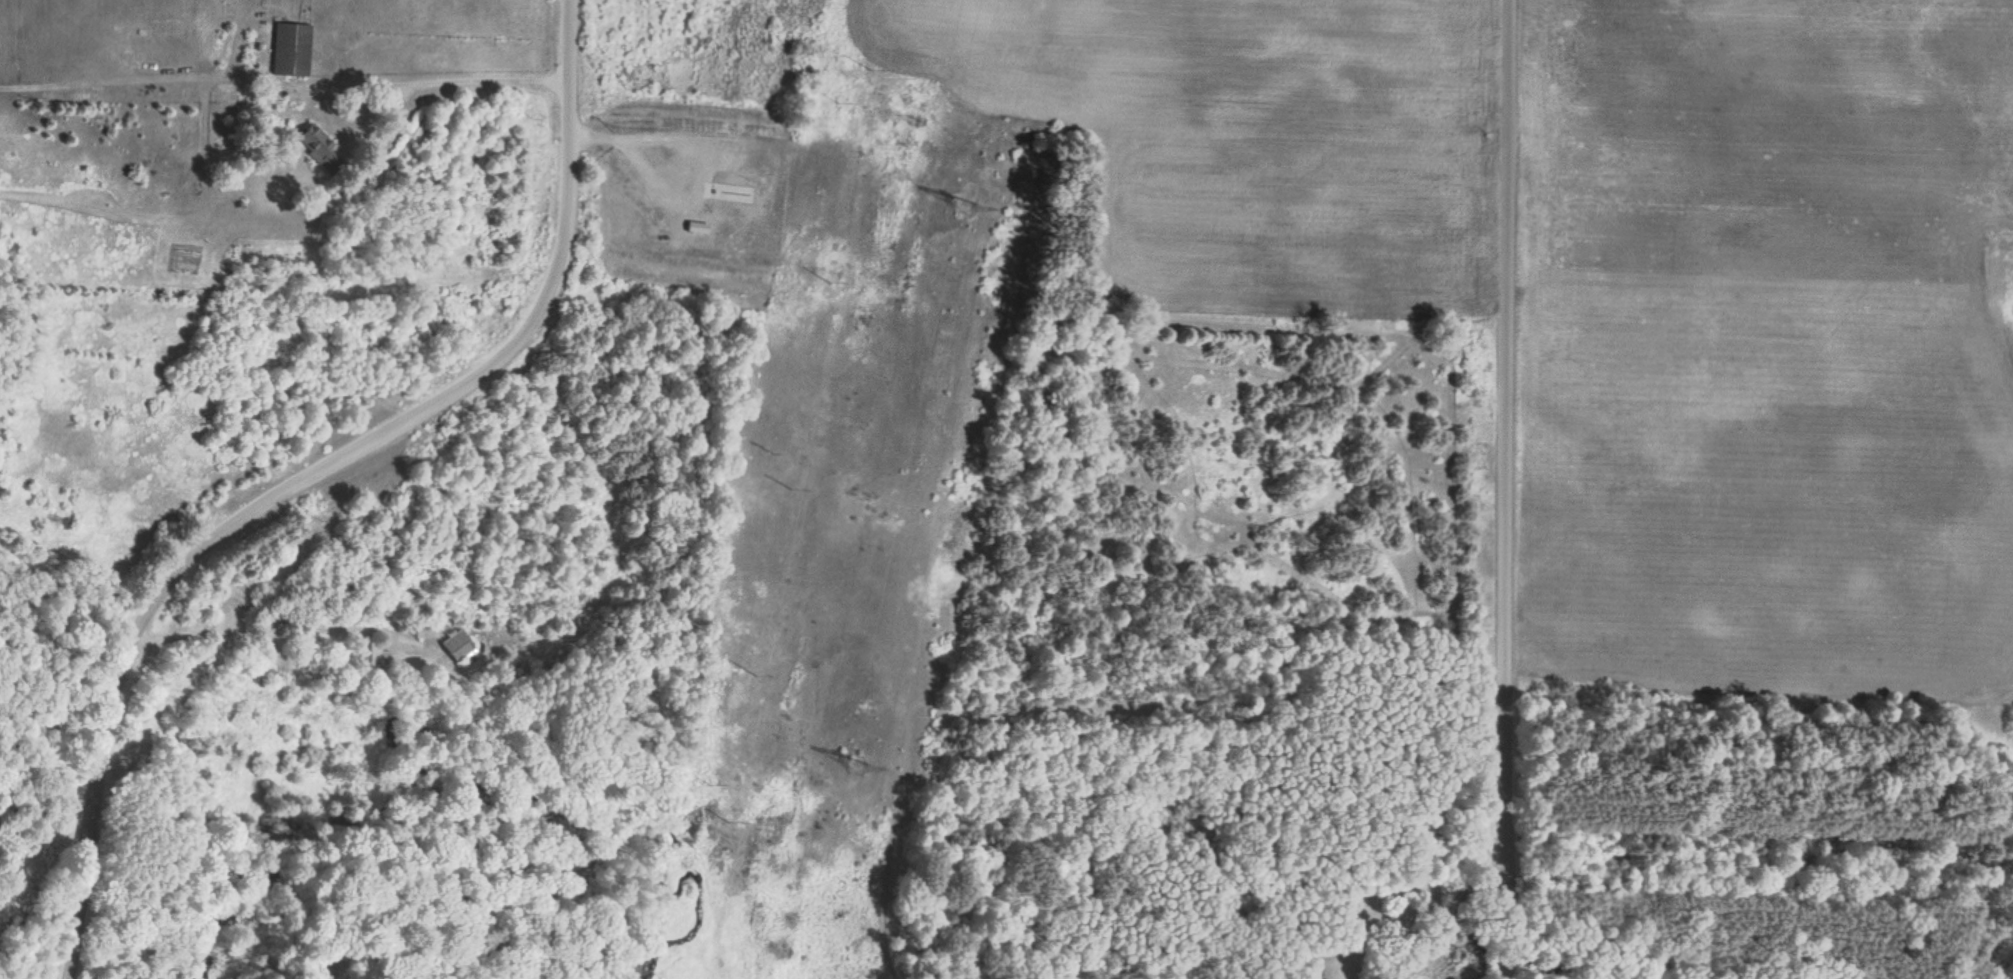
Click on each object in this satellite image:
building: (292, 49)
building: (318, 147)
power tower: (963, 204)
road: (308, 474)
road: (1501, 489)
building: (458, 645)
building: (372, 659)
power tower: (856, 763)

